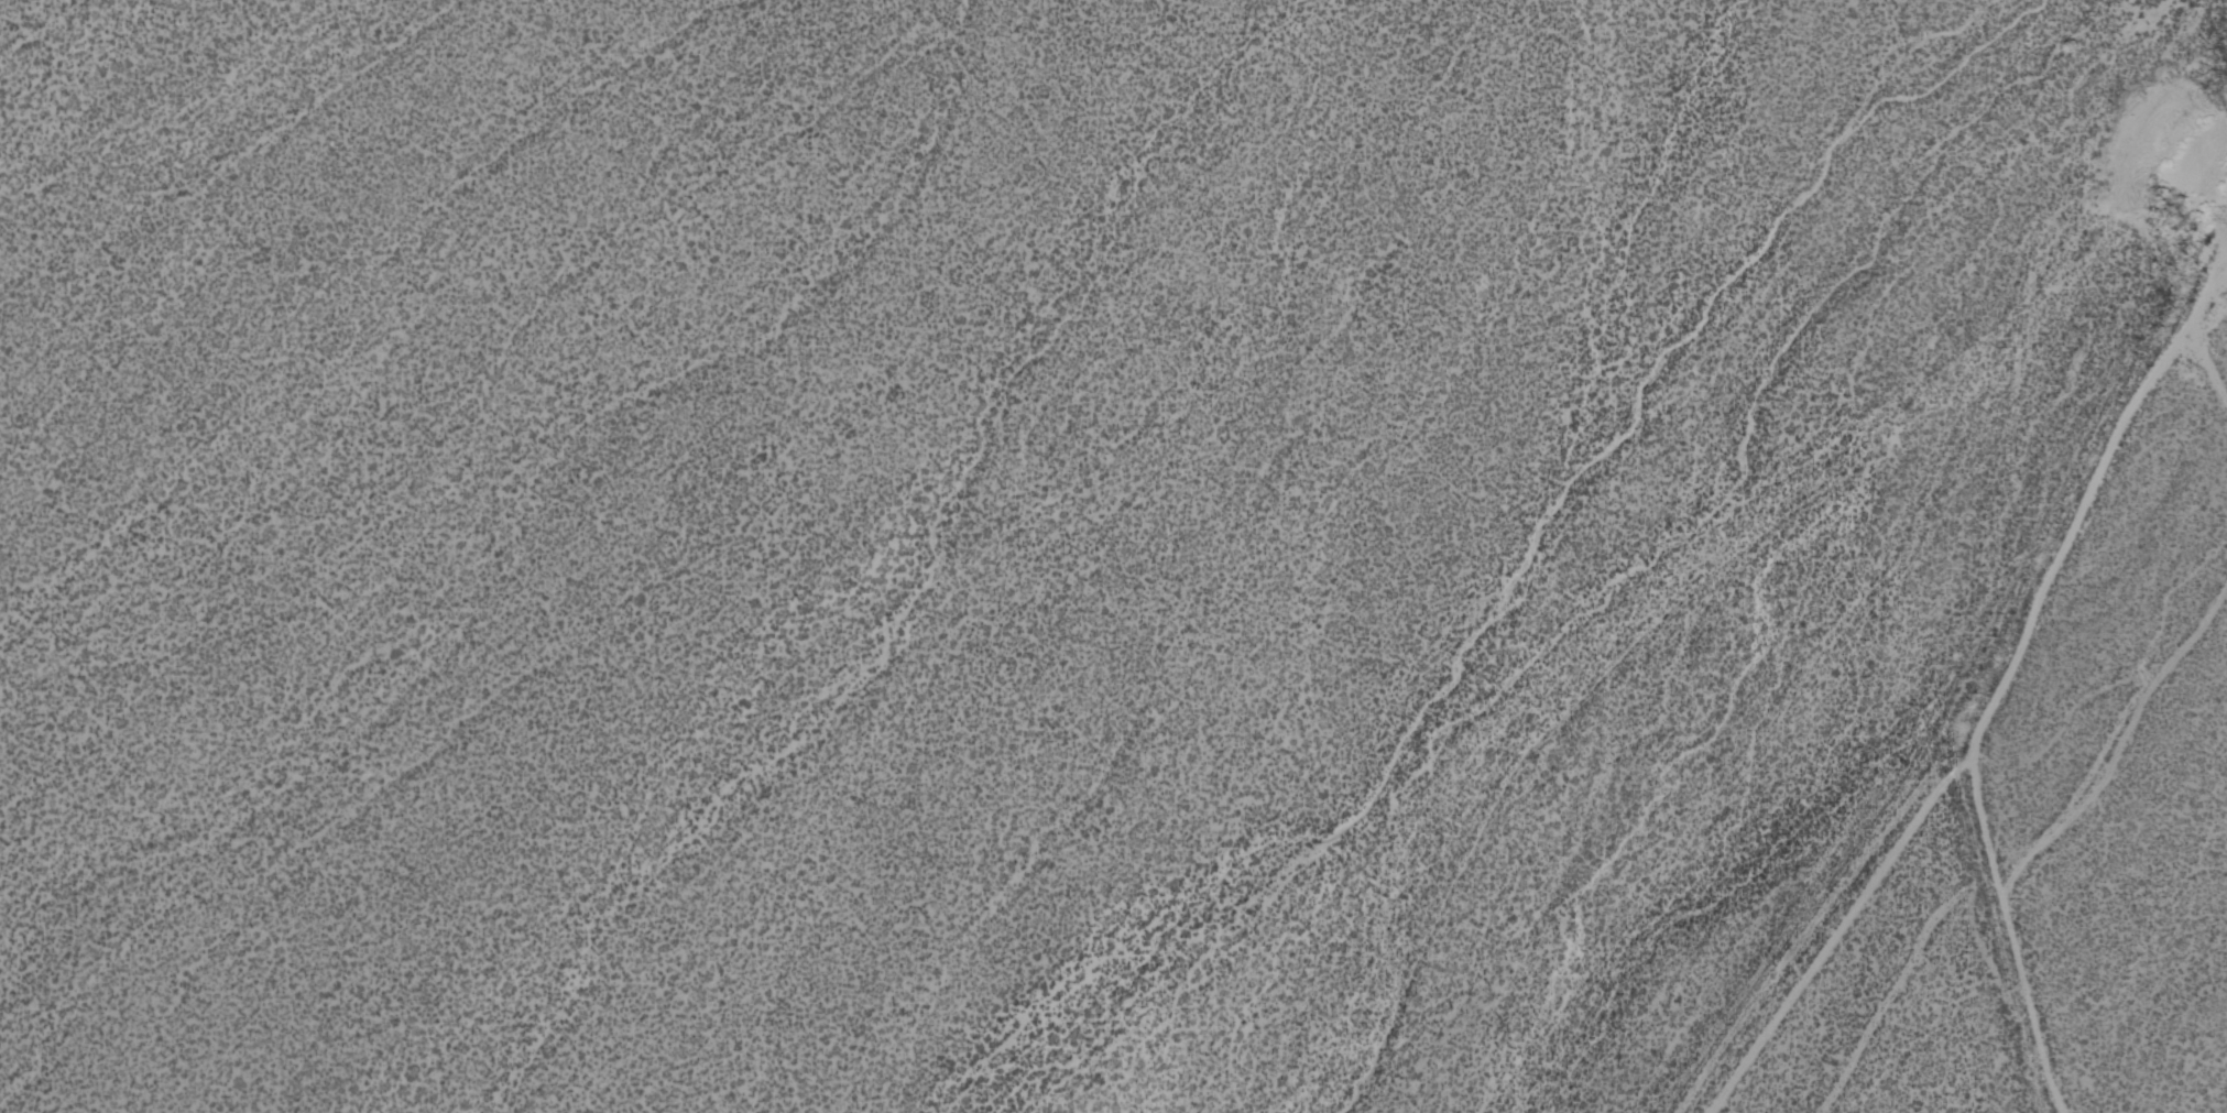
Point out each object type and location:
road: (2207, 372)
road: (1997, 705)
road: (2027, 859)
road: (2012, 943)

